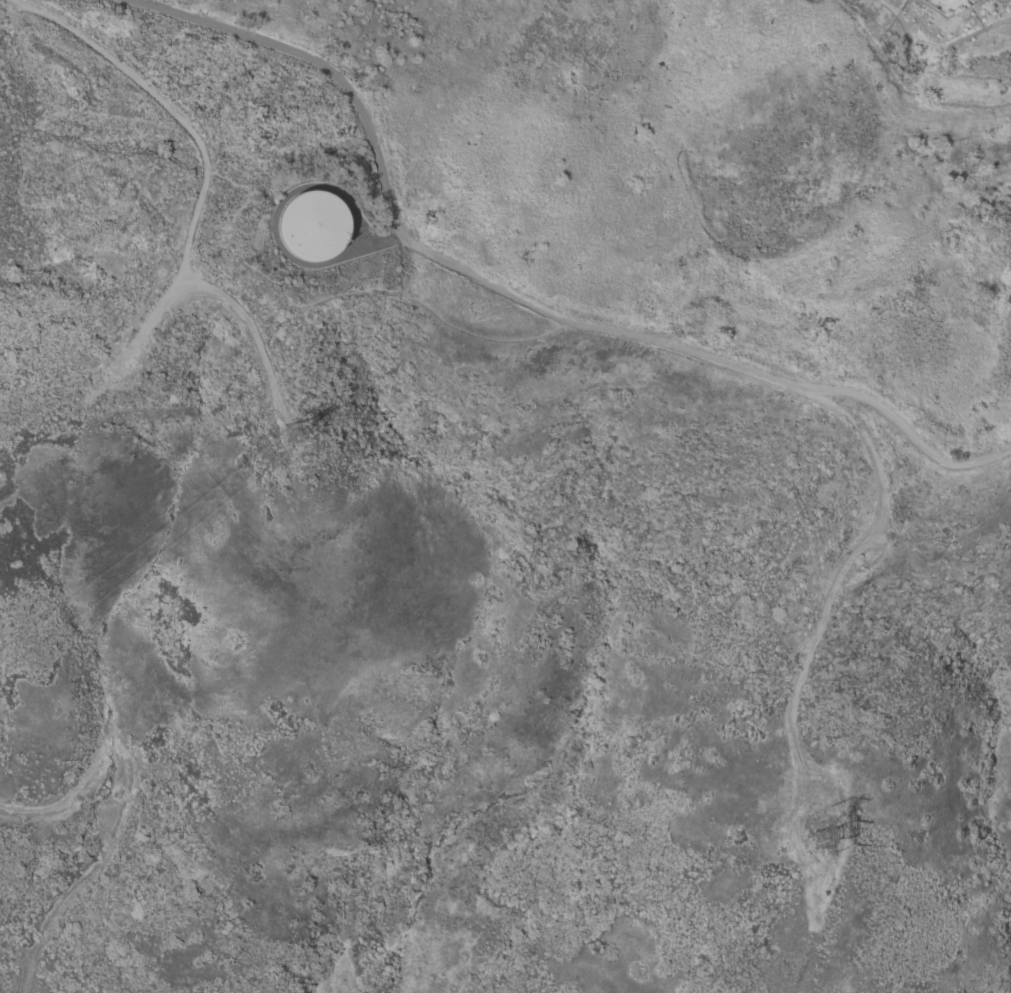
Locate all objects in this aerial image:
road: (323, 67)
building: (313, 227)
water tower: (314, 229)
road: (715, 359)
power tower: (286, 434)
road: (802, 677)
power tower: (817, 841)

